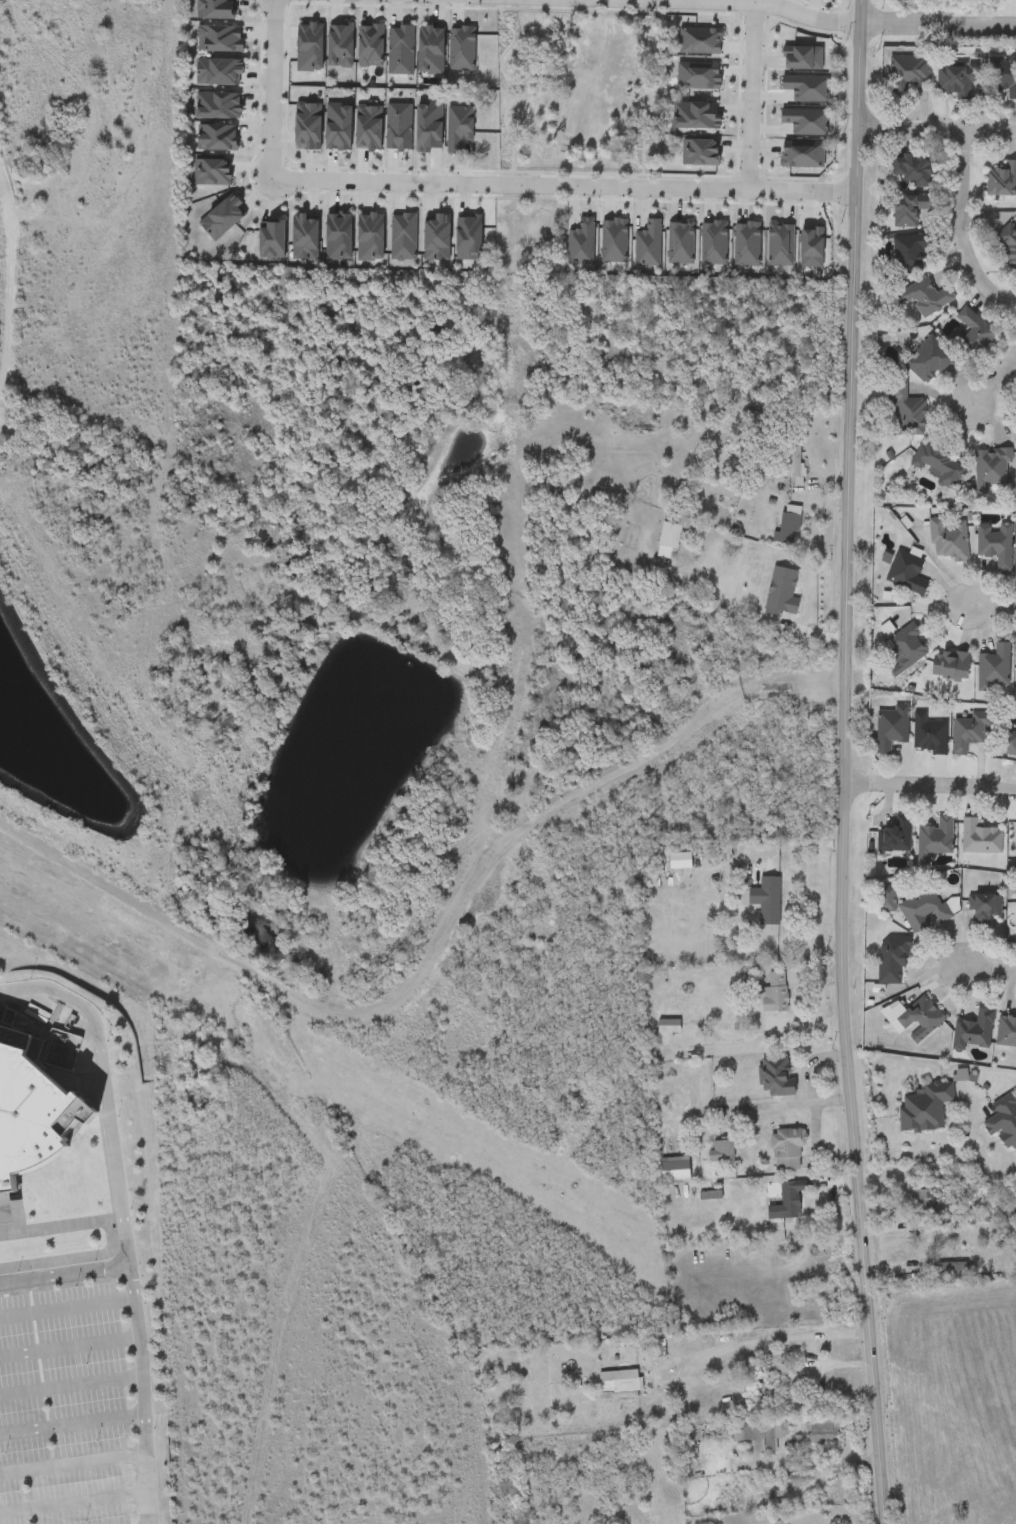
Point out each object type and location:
road: (766, 5)
road: (940, 22)
building: (1003, 74)
building: (906, 75)
building: (956, 79)
road: (274, 90)
road: (752, 96)
road: (938, 133)
building: (912, 169)
building: (1001, 181)
road: (565, 186)
building: (908, 209)
road: (966, 224)
building: (1011, 250)
building: (909, 253)
building: (923, 298)
building: (971, 335)
building: (928, 360)
road: (995, 381)
building: (908, 408)
building: (791, 461)
building: (938, 465)
building: (992, 469)
building: (788, 525)
building: (667, 540)
building: (947, 540)
building: (995, 545)
building: (906, 573)
building: (779, 594)
road: (992, 608)
building: (903, 650)
building: (950, 666)
building: (993, 669)
building: (891, 728)
building: (968, 733)
building: (928, 734)
building: (1008, 743)
road: (844, 762)
road: (930, 785)
building: (895, 836)
building: (979, 838)
building: (934, 840)
building: (766, 900)
building: (983, 908)
building: (922, 909)
road: (433, 948)
building: (891, 960)
road: (987, 971)
building: (774, 999)
building: (913, 1018)
building: (974, 1030)
building: (1006, 1032)
building: (775, 1076)
road: (789, 1104)
building: (924, 1107)
road: (815, 1108)
building: (1003, 1121)
building: (721, 1151)
building: (785, 1151)
road: (933, 1154)
building: (674, 1169)
building: (788, 1201)
building: (925, 1206)
road: (123, 1219)
road: (61, 1226)
road: (64, 1274)
road: (67, 1309)
road: (765, 1340)
road: (69, 1347)
building: (656, 1347)
road: (72, 1387)
building: (610, 1388)
building: (788, 1388)
road: (73, 1423)
building: (824, 1429)
building: (755, 1438)
building: (132, 1448)
building: (5, 1460)
road: (74, 1466)
road: (74, 1503)

